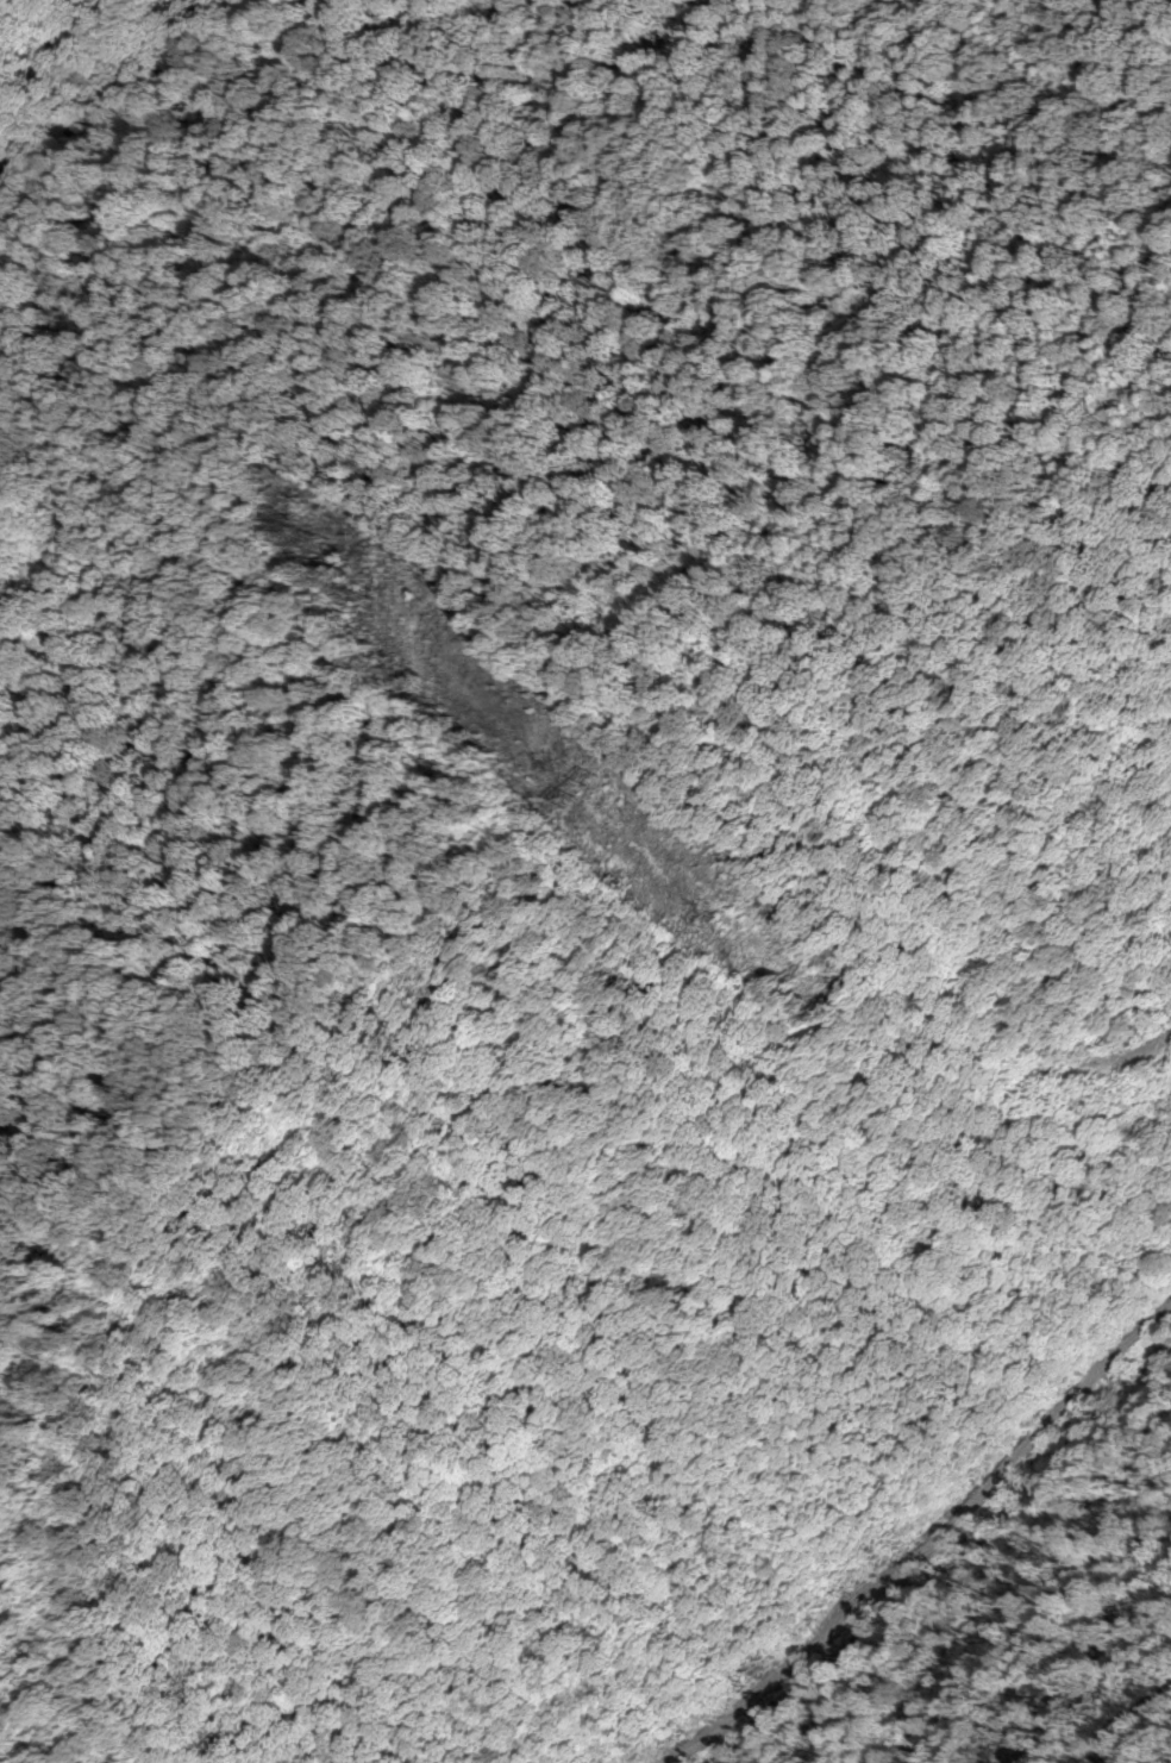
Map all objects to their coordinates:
road: (944, 1542)

